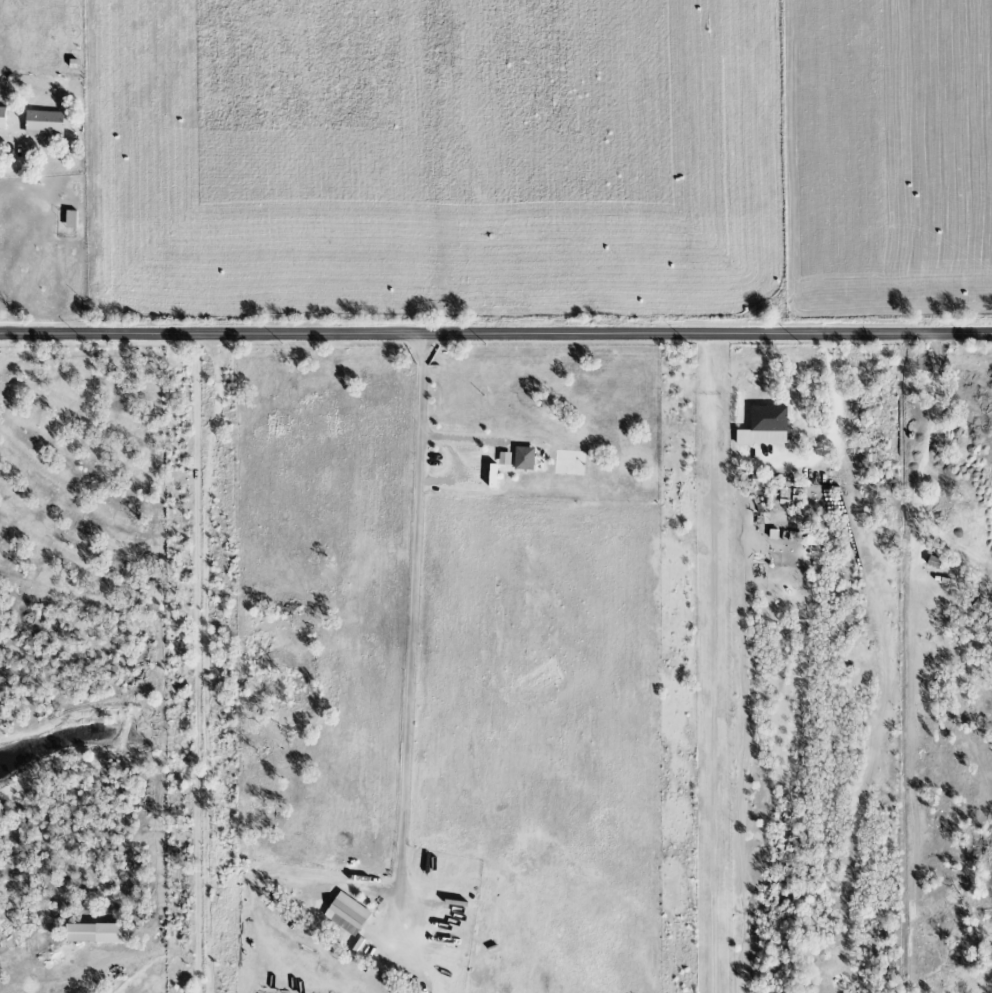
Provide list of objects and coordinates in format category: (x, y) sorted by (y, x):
building: (1, 117)
building: (42, 124)
road: (17, 165)
building: (69, 220)
road: (495, 336)
road: (837, 423)
road: (422, 425)
building: (763, 426)
building: (503, 458)
building: (522, 458)
road: (924, 458)
building: (491, 475)
road: (199, 664)
road: (411, 680)
building: (346, 914)
building: (95, 933)
road: (82, 983)

